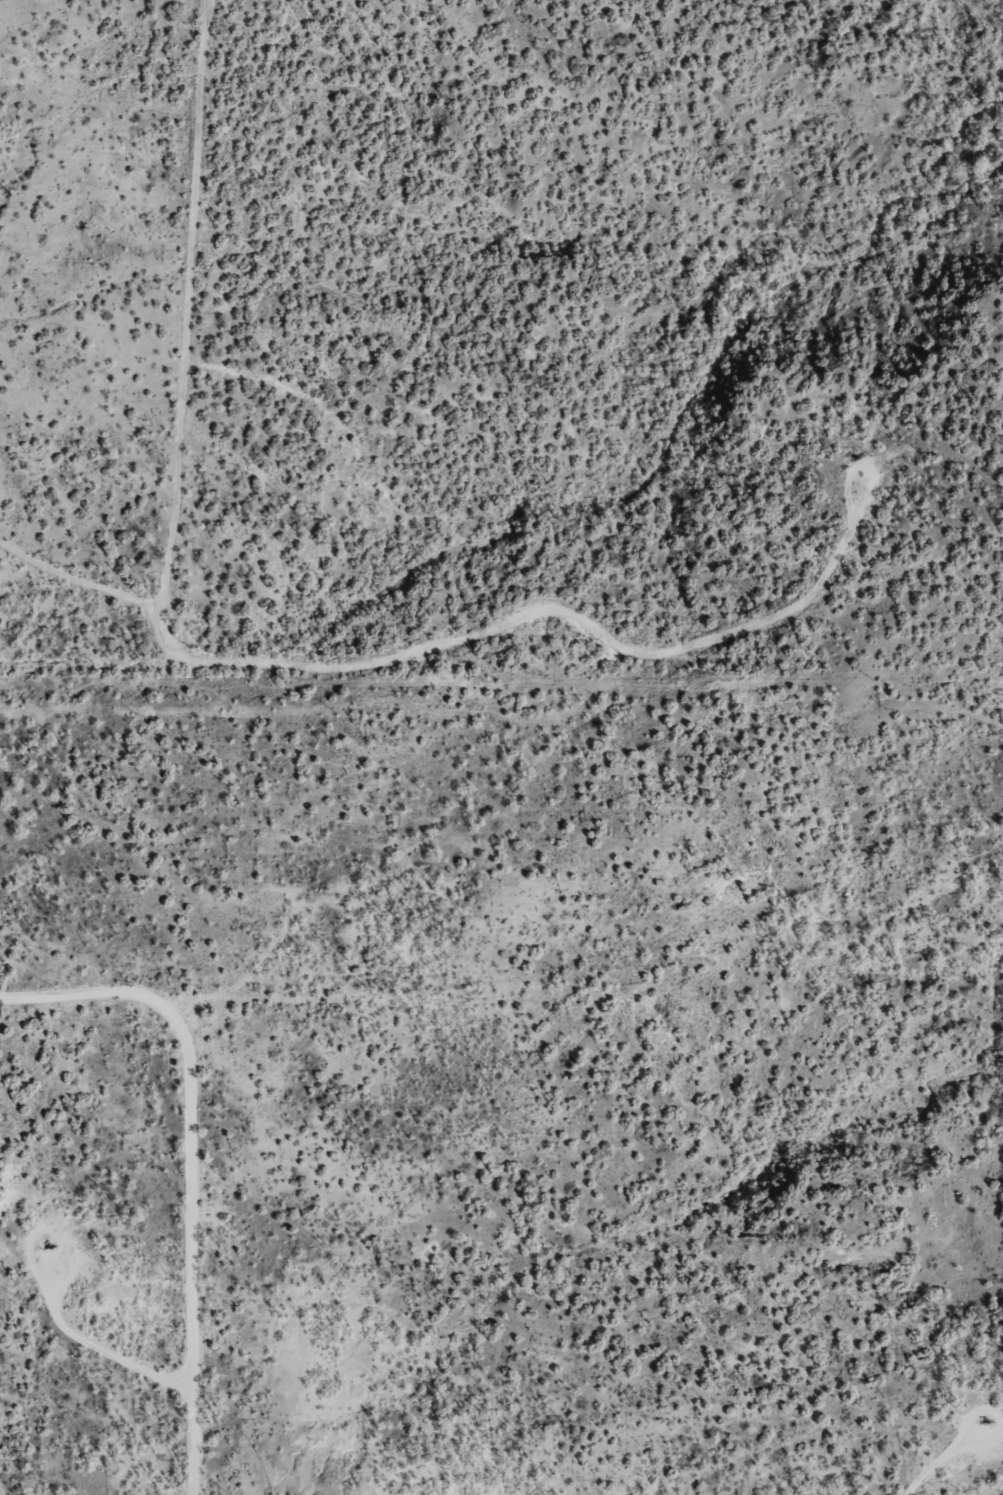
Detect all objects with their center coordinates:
road: (224, 1214)
road: (968, 1424)

